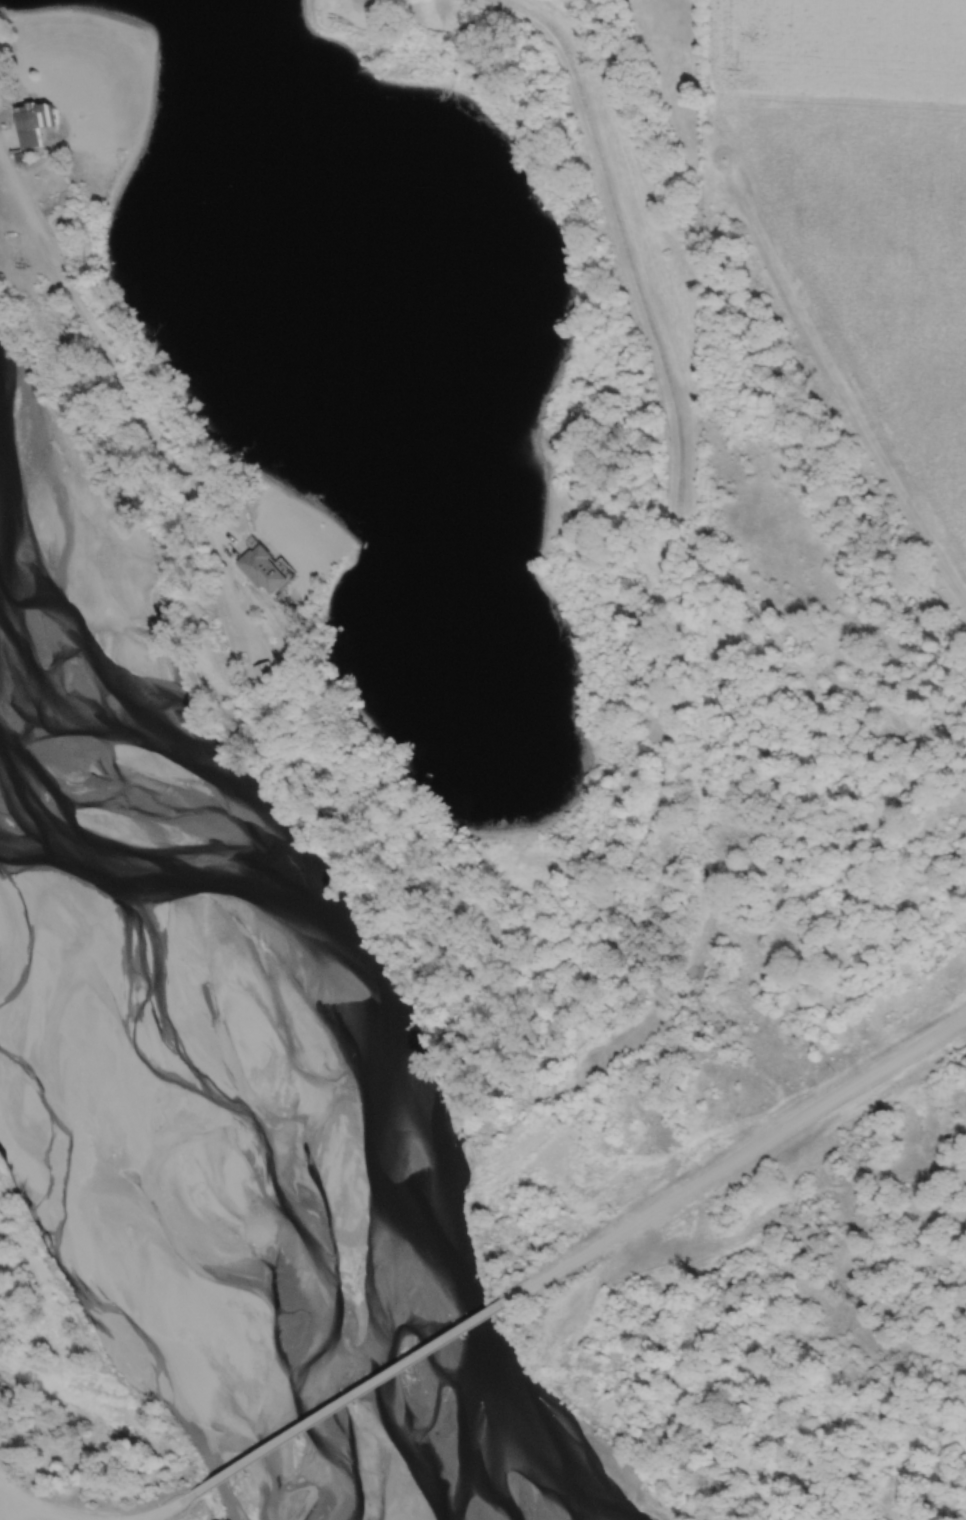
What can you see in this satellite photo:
building: (36, 124)
road: (669, 452)
building: (267, 569)
road: (265, 613)
building: (268, 674)
river: (210, 1122)
road: (744, 1156)
road: (355, 1399)
road: (34, 1504)
road: (10, 1505)
road: (170, 1512)

